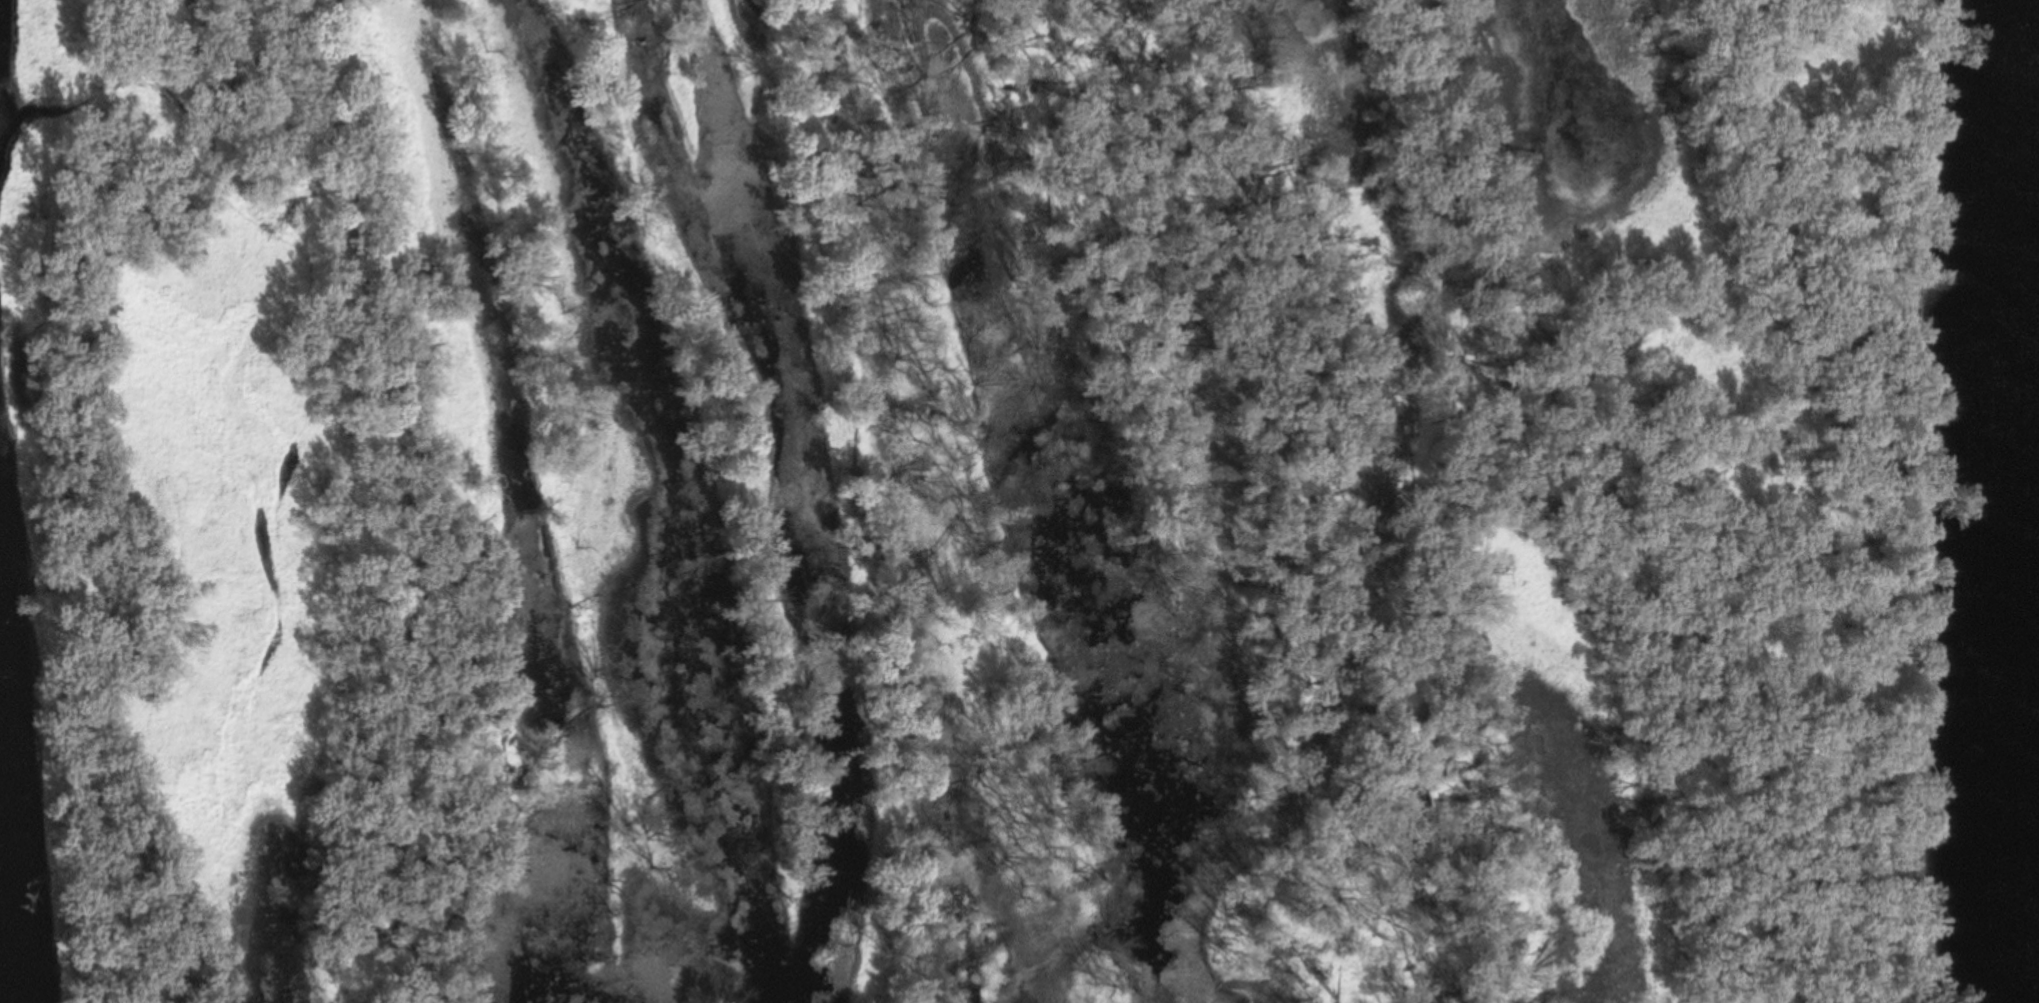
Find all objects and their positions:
river: (5, 928)

